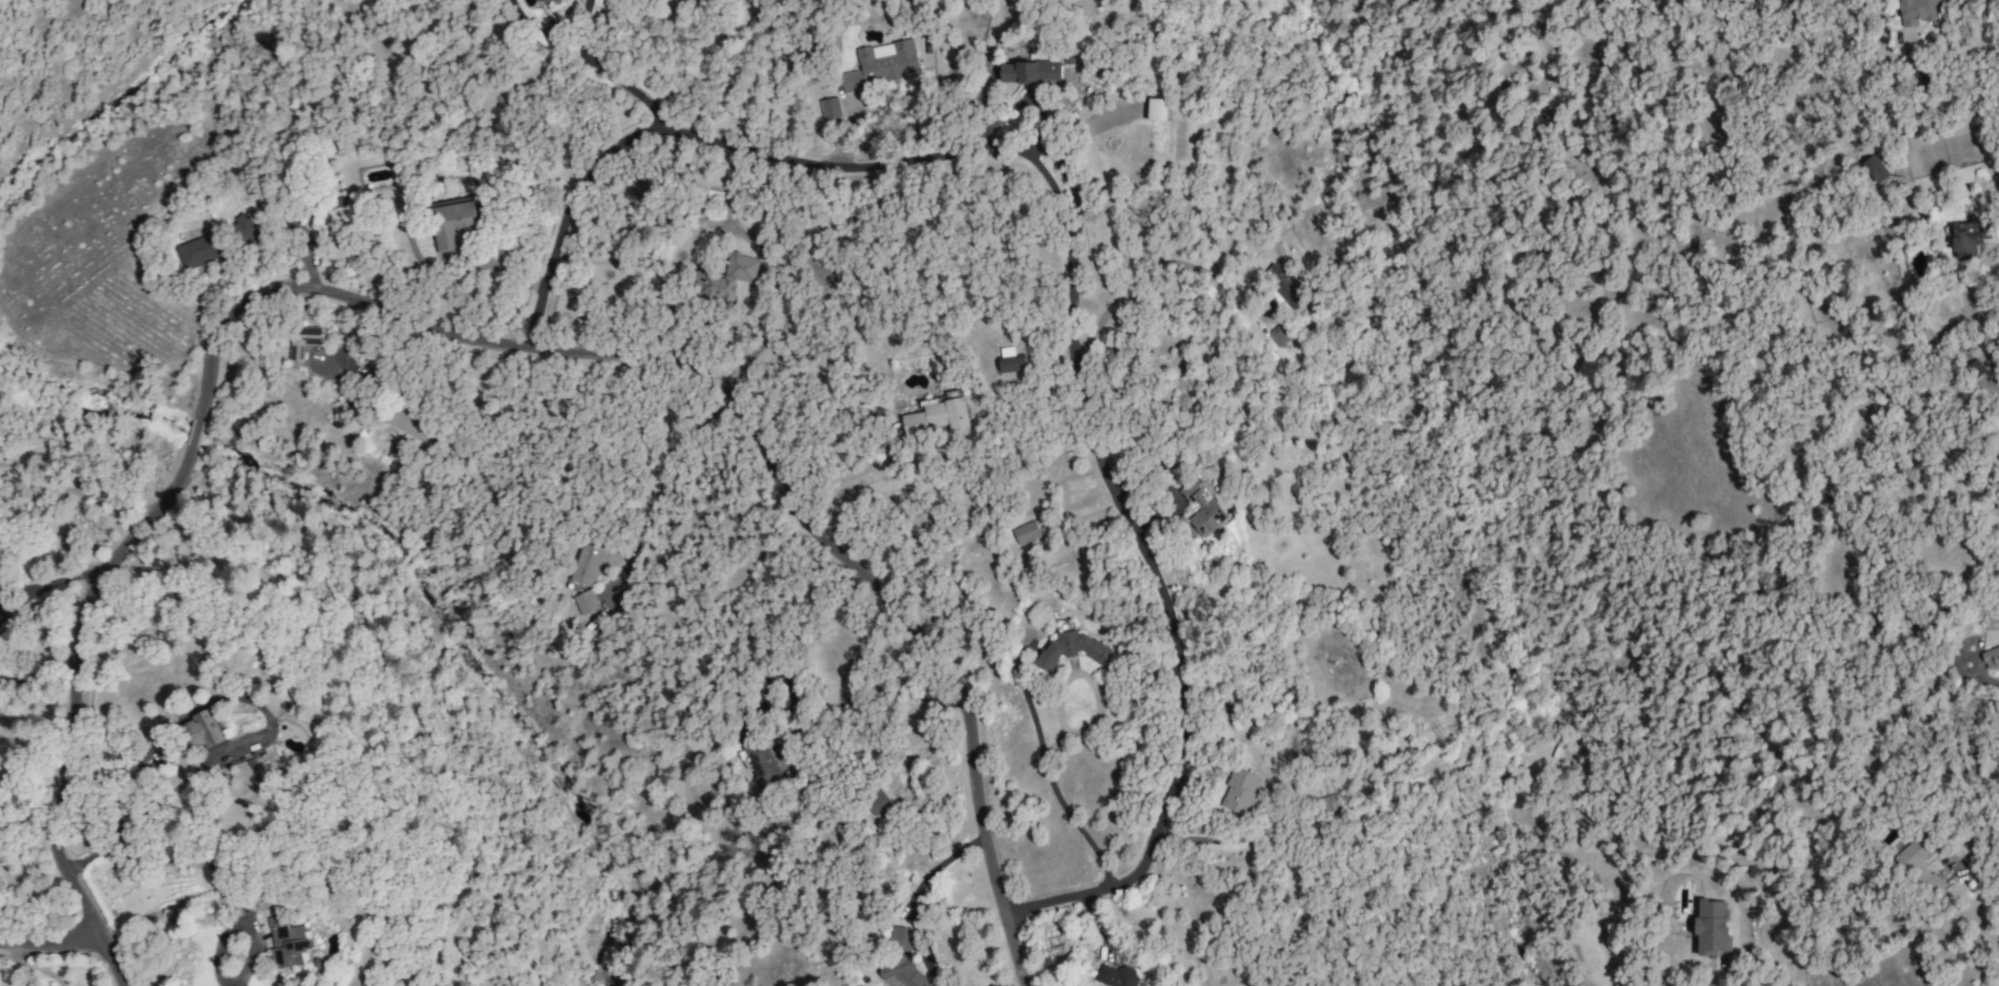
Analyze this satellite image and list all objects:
building: (555, 2)
building: (1917, 12)
building: (882, 65)
building: (1029, 72)
road: (626, 89)
road: (1948, 93)
building: (829, 109)
building: (1156, 109)
building: (1874, 169)
building: (451, 221)
building: (243, 226)
building: (1969, 236)
building: (197, 251)
road: (1076, 261)
road: (1154, 266)
building: (725, 277)
building: (1282, 285)
road: (454, 334)
building: (1278, 336)
building: (302, 341)
road: (1989, 356)
building: (1009, 360)
building: (1973, 369)
building: (936, 417)
road: (913, 452)
road: (657, 486)
road: (1168, 488)
road: (75, 492)
building: (1204, 510)
building: (1025, 533)
building: (585, 564)
building: (584, 602)
building: (1070, 650)
building: (1990, 658)
road: (1986, 679)
road: (775, 710)
road: (824, 713)
building: (202, 730)
building: (758, 763)
building: (262, 764)
road: (196, 772)
building: (1239, 791)
building: (876, 803)
building: (1329, 803)
building: (1919, 864)
building: (1710, 928)
road: (50, 942)
building: (286, 943)
road: (235, 966)
road: (1760, 977)
building: (367, 981)
road: (1997, 982)

